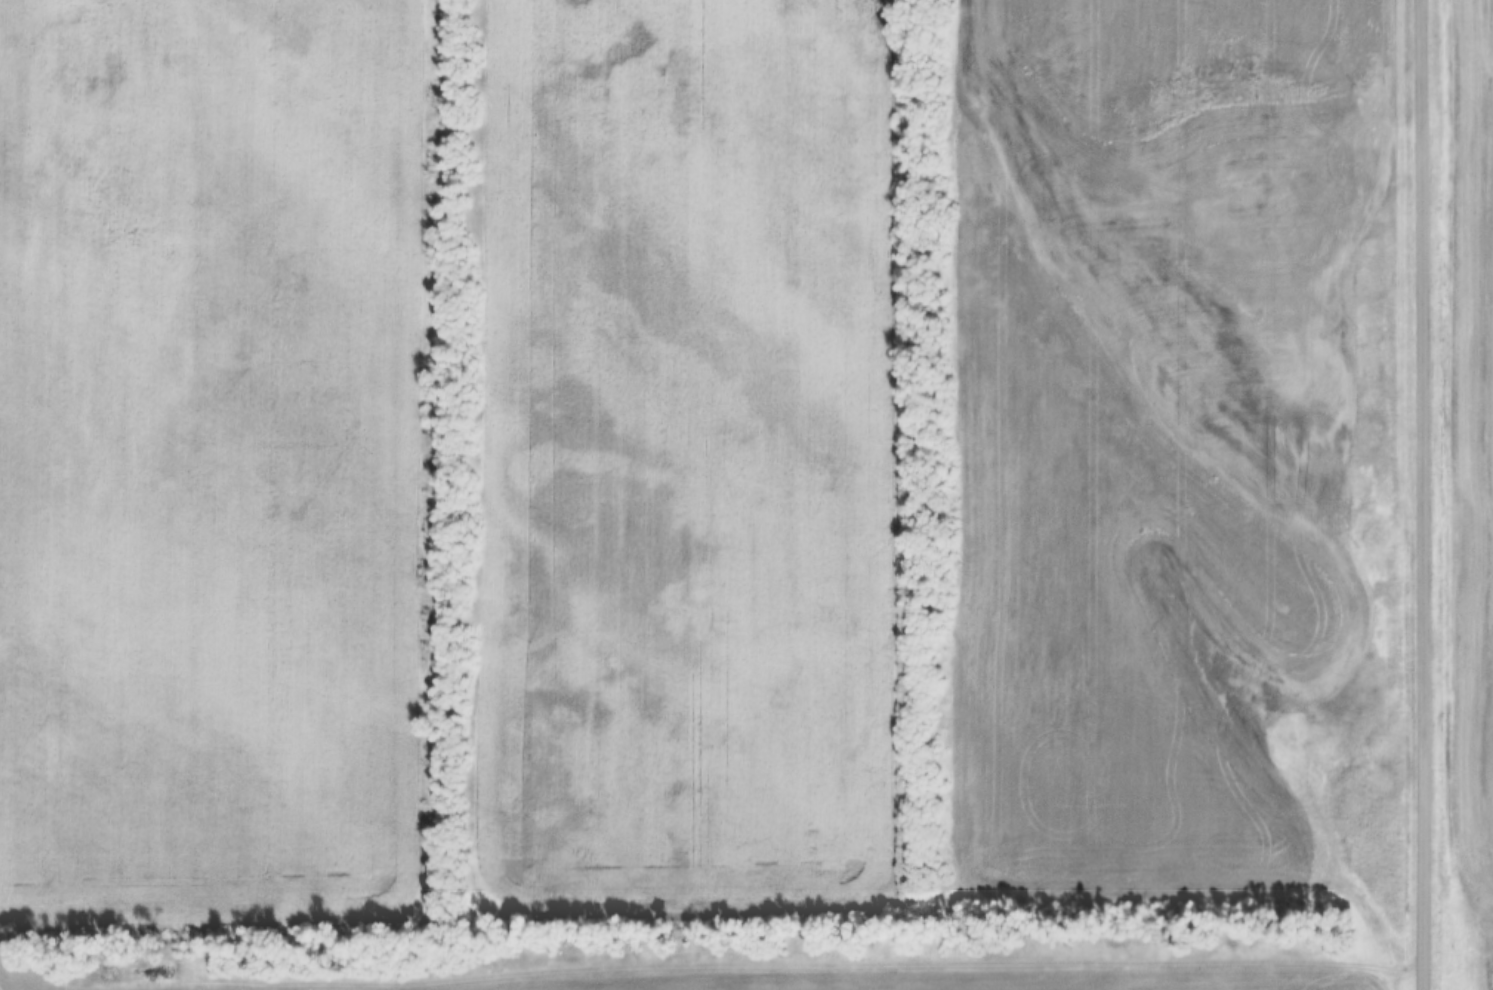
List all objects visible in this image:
road: (1418, 495)

